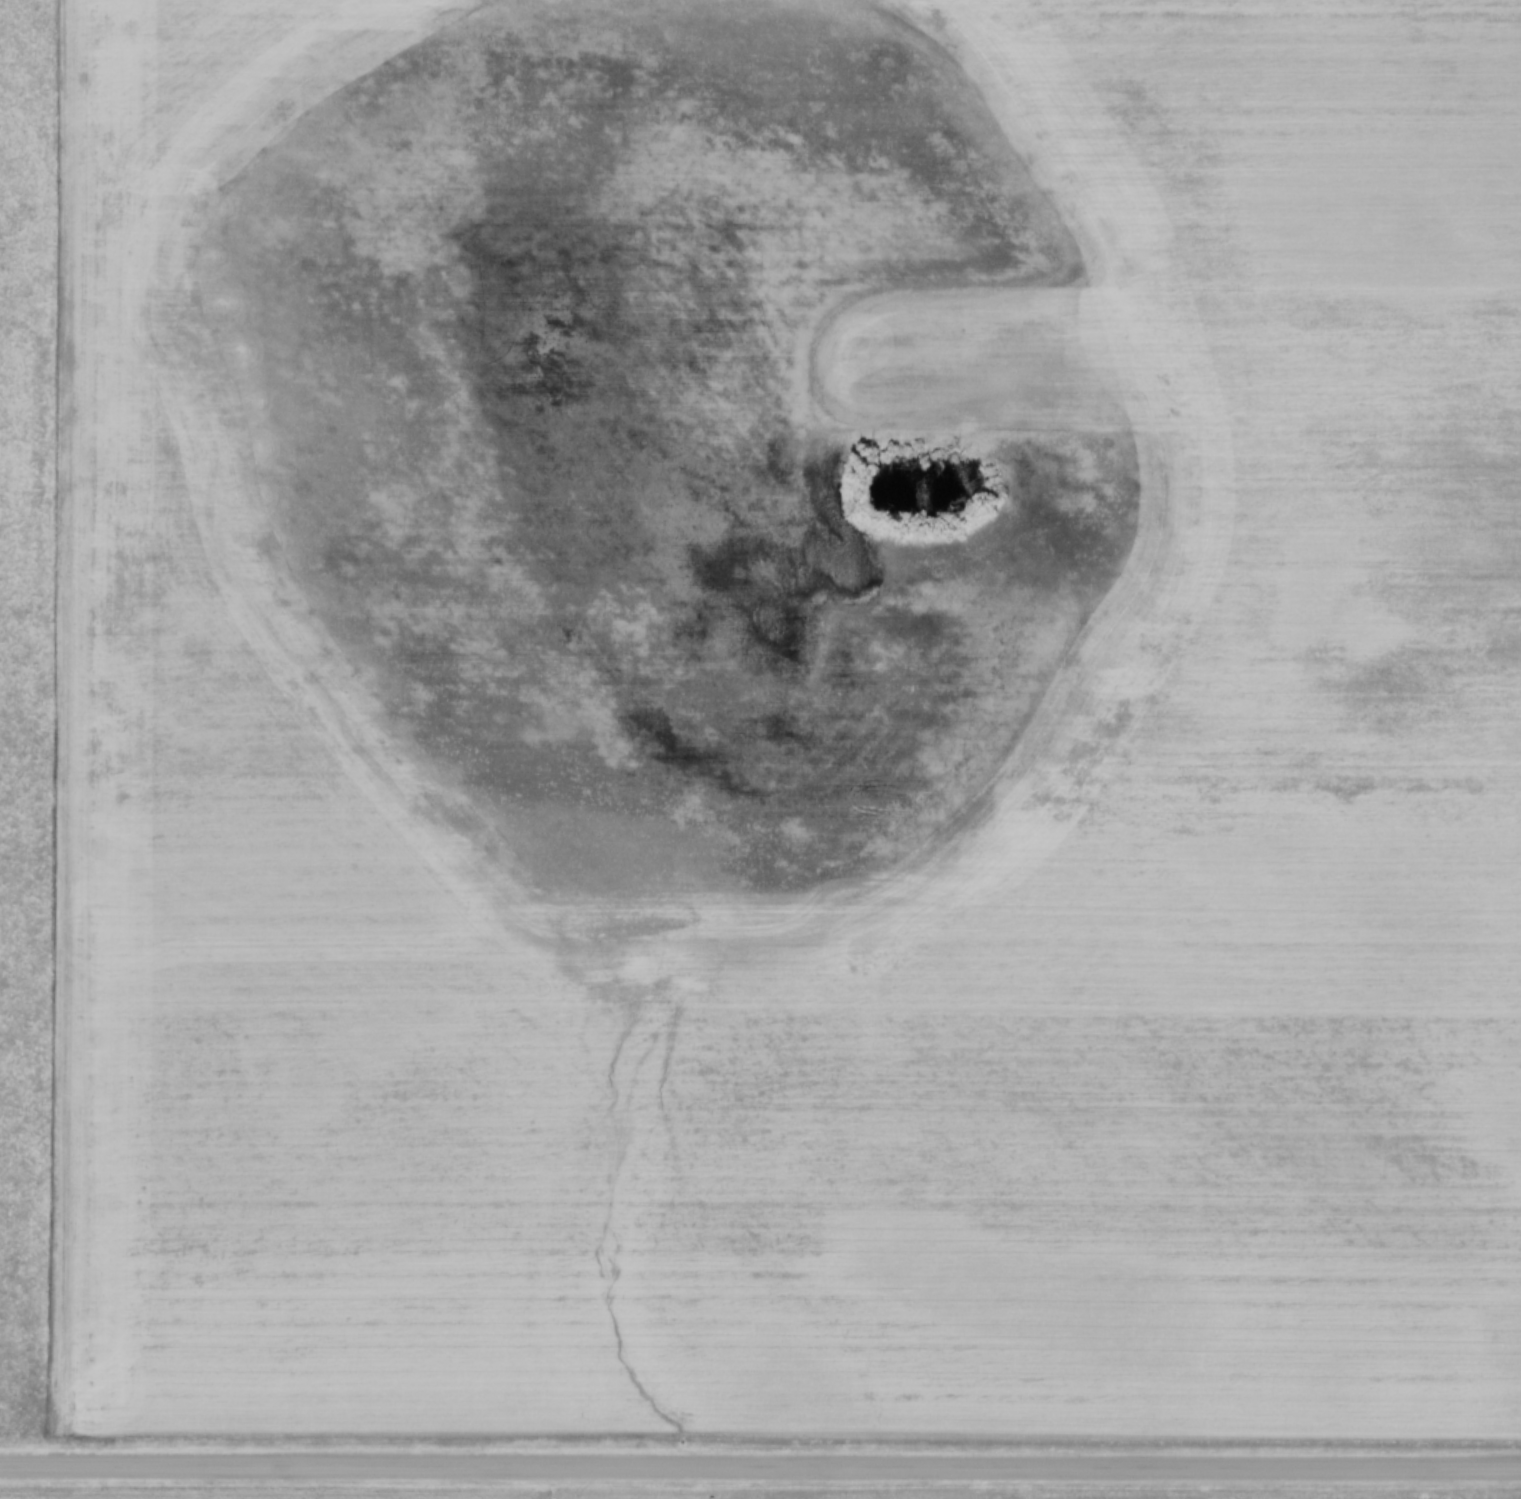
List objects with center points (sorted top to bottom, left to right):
road: (760, 1467)

